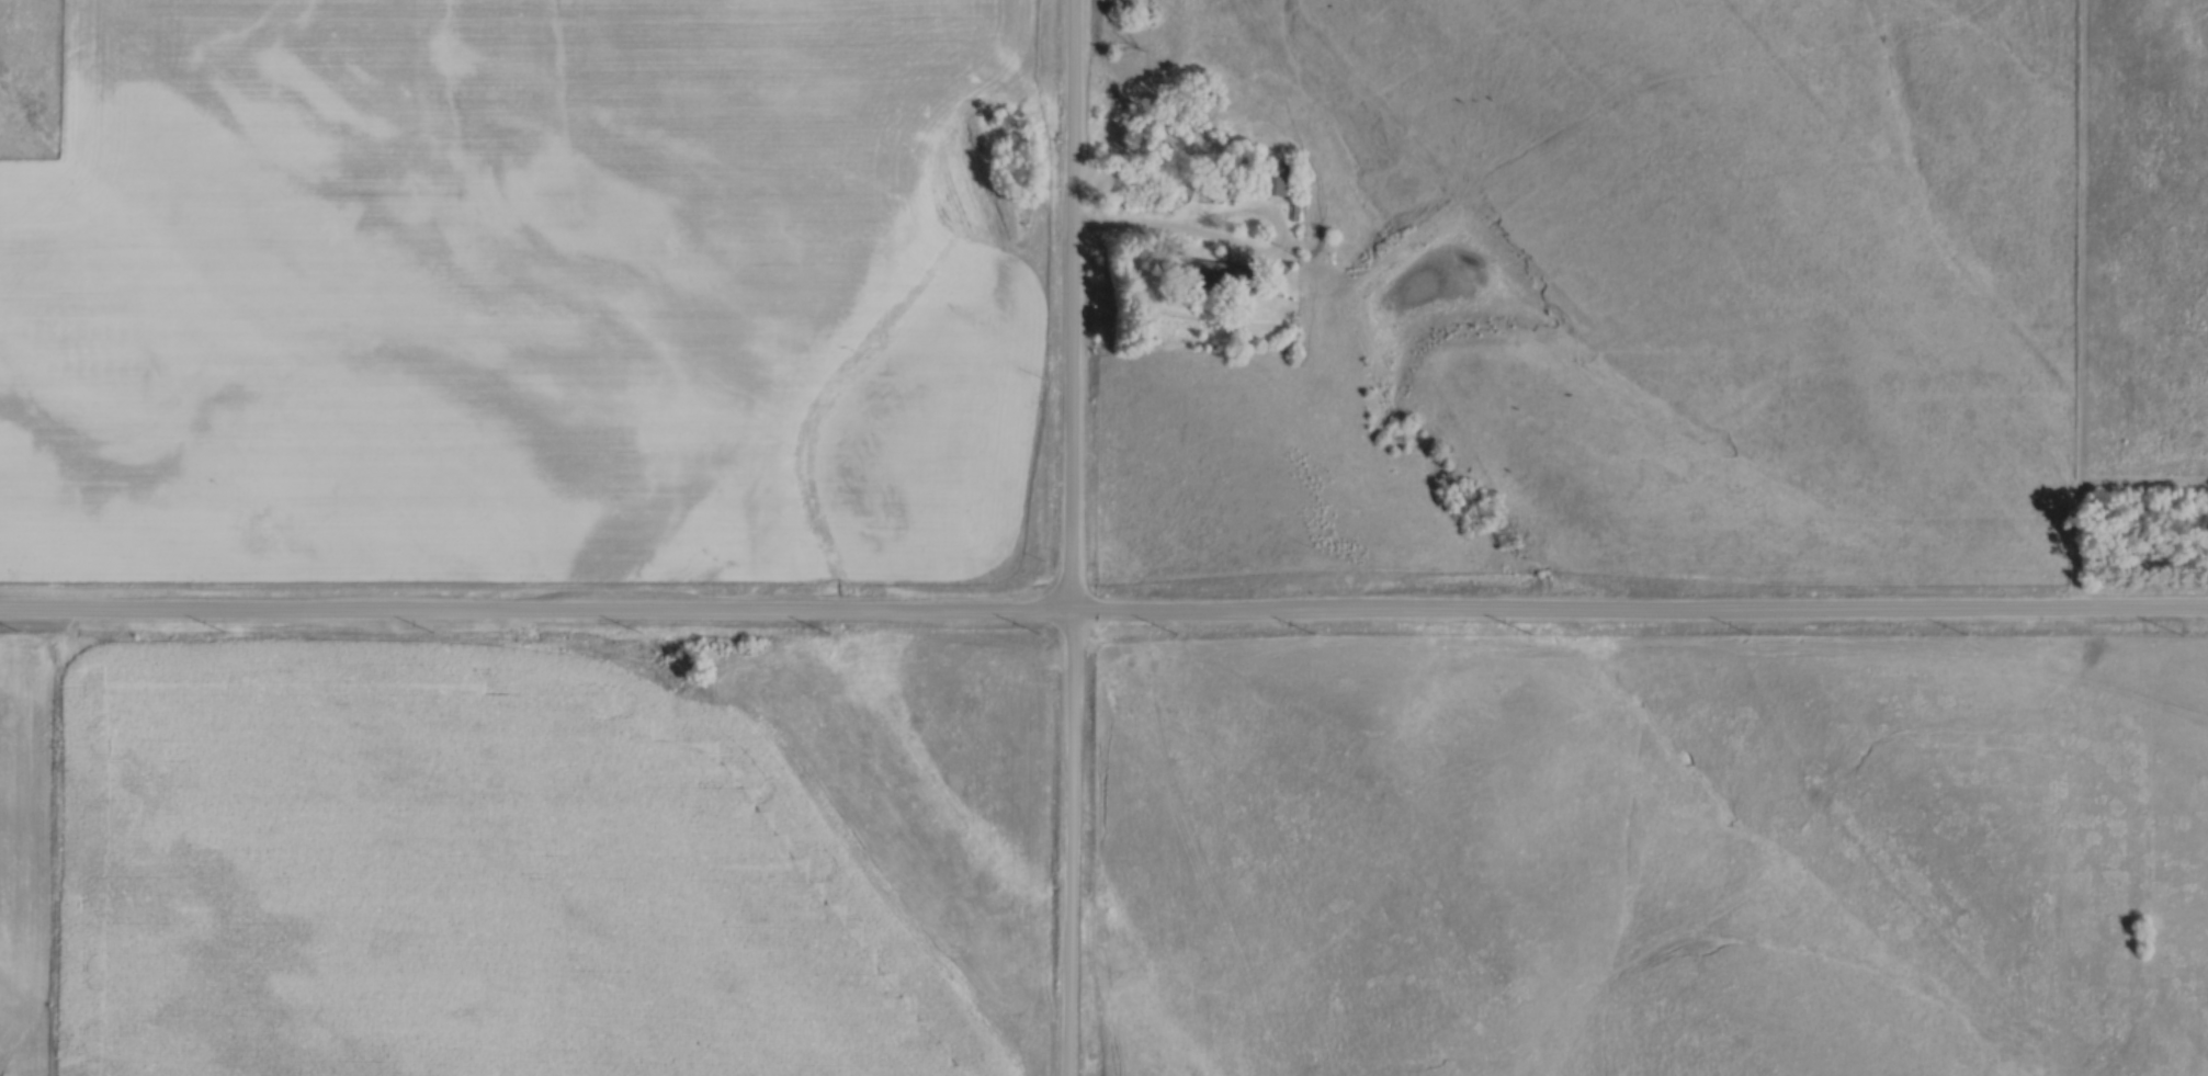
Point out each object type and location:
building: (1273, 179)
road: (1173, 234)
building: (1214, 274)
road: (1071, 537)
road: (1103, 615)

